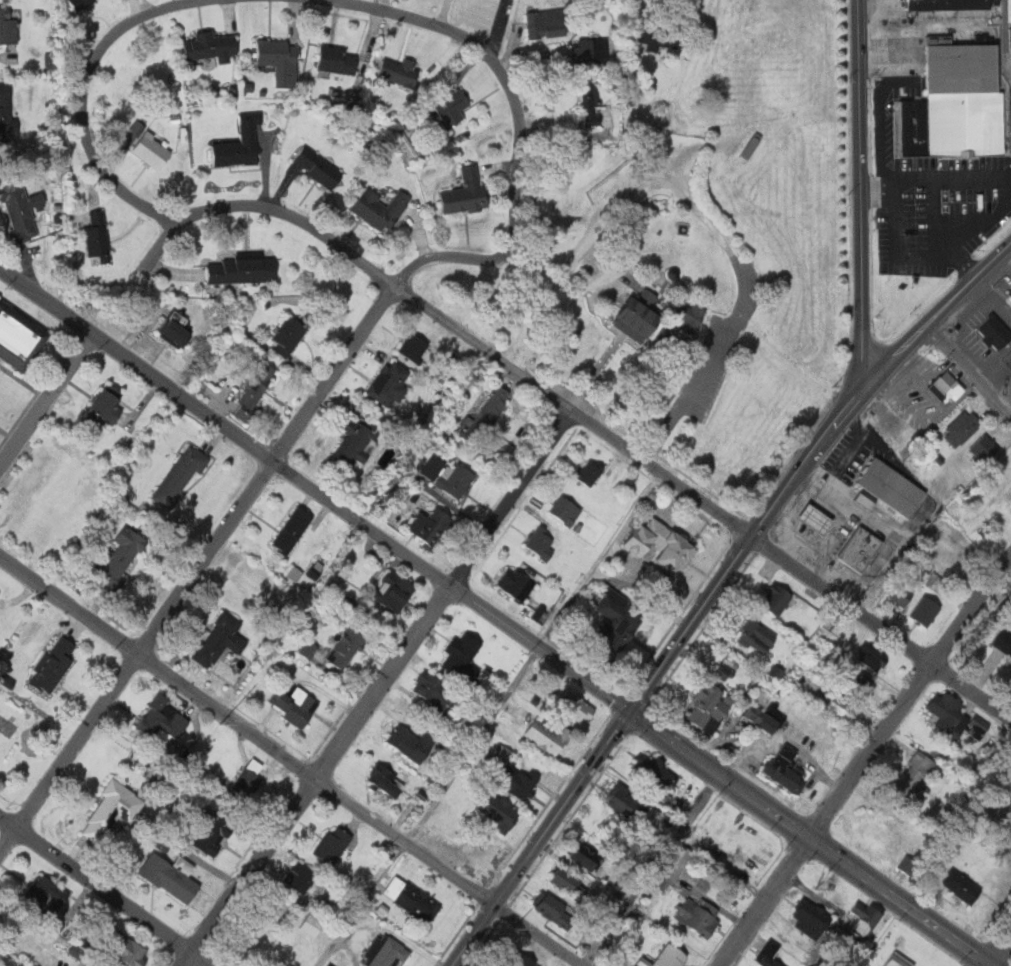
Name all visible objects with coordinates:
building: (73, 4)
building: (950, 4)
building: (541, 23)
building: (5, 27)
building: (657, 39)
building: (1007, 39)
building: (204, 46)
building: (582, 51)
building: (274, 59)
building: (330, 59)
building: (392, 71)
road: (86, 80)
building: (956, 102)
building: (585, 104)
building: (445, 107)
building: (4, 112)
building: (517, 112)
building: (173, 118)
road: (519, 128)
building: (233, 145)
building: (748, 146)
building: (145, 149)
building: (311, 165)
road: (865, 192)
building: (459, 193)
building: (374, 207)
road: (608, 211)
building: (15, 212)
road: (286, 216)
building: (93, 236)
building: (235, 269)
building: (673, 273)
building: (915, 278)
building: (1010, 292)
building: (637, 315)
building: (693, 316)
building: (167, 328)
building: (995, 331)
building: (283, 336)
building: (15, 337)
building: (414, 347)
road: (481, 350)
parking lot: (716, 350)
road: (602, 363)
building: (1008, 369)
road: (968, 370)
road: (869, 379)
building: (252, 382)
building: (389, 383)
building: (946, 387)
road: (45, 401)
building: (99, 405)
building: (486, 411)
building: (961, 427)
building: (357, 440)
building: (984, 447)
road: (843, 461)
building: (424, 466)
building: (588, 471)
road: (659, 474)
building: (176, 475)
building: (455, 479)
building: (890, 486)
road: (313, 492)
building: (863, 499)
building: (565, 509)
building: (815, 518)
building: (429, 524)
road: (839, 527)
building: (292, 529)
building: (543, 542)
building: (661, 543)
building: (859, 548)
road: (889, 551)
building: (110, 565)
road: (195, 568)
building: (292, 573)
building: (515, 582)
building: (393, 590)
building: (895, 593)
building: (776, 598)
building: (341, 601)
building: (924, 609)
building: (617, 619)
road: (688, 624)
road: (881, 625)
building: (756, 637)
building: (218, 638)
building: (1001, 643)
building: (345, 647)
building: (305, 649)
building: (463, 655)
building: (866, 659)
building: (47, 666)
building: (719, 671)
building: (850, 683)
road: (376, 689)
building: (434, 690)
building: (294, 703)
building: (575, 705)
building: (708, 706)
building: (839, 706)
traffic signals: (626, 713)
building: (955, 716)
building: (761, 717)
building: (162, 719)
road: (486, 719)
power tower: (219, 723)
road: (247, 731)
building: (547, 735)
building: (412, 741)
building: (499, 753)
road: (867, 761)
building: (784, 768)
building: (655, 770)
building: (913, 771)
building: (247, 778)
building: (518, 778)
building: (386, 780)
building: (628, 804)
building: (112, 810)
building: (498, 810)
building: (213, 834)
road: (539, 839)
road: (808, 839)
building: (332, 845)
building: (588, 855)
building: (906, 864)
building: (674, 867)
building: (170, 876)
building: (299, 877)
building: (568, 881)
building: (961, 885)
road: (104, 891)
building: (47, 894)
building: (415, 901)
building: (554, 909)
building: (697, 915)
building: (862, 918)
building: (311, 925)
building: (807, 925)
power tower: (512, 928)
road: (538, 935)
building: (124, 947)
road: (1001, 953)
building: (388, 954)
building: (665, 957)
building: (768, 957)
building: (515, 959)
building: (892, 963)
building: (21, 964)
building: (325, 964)
building: (329, 965)
building: (498, 965)
building: (751, 965)

